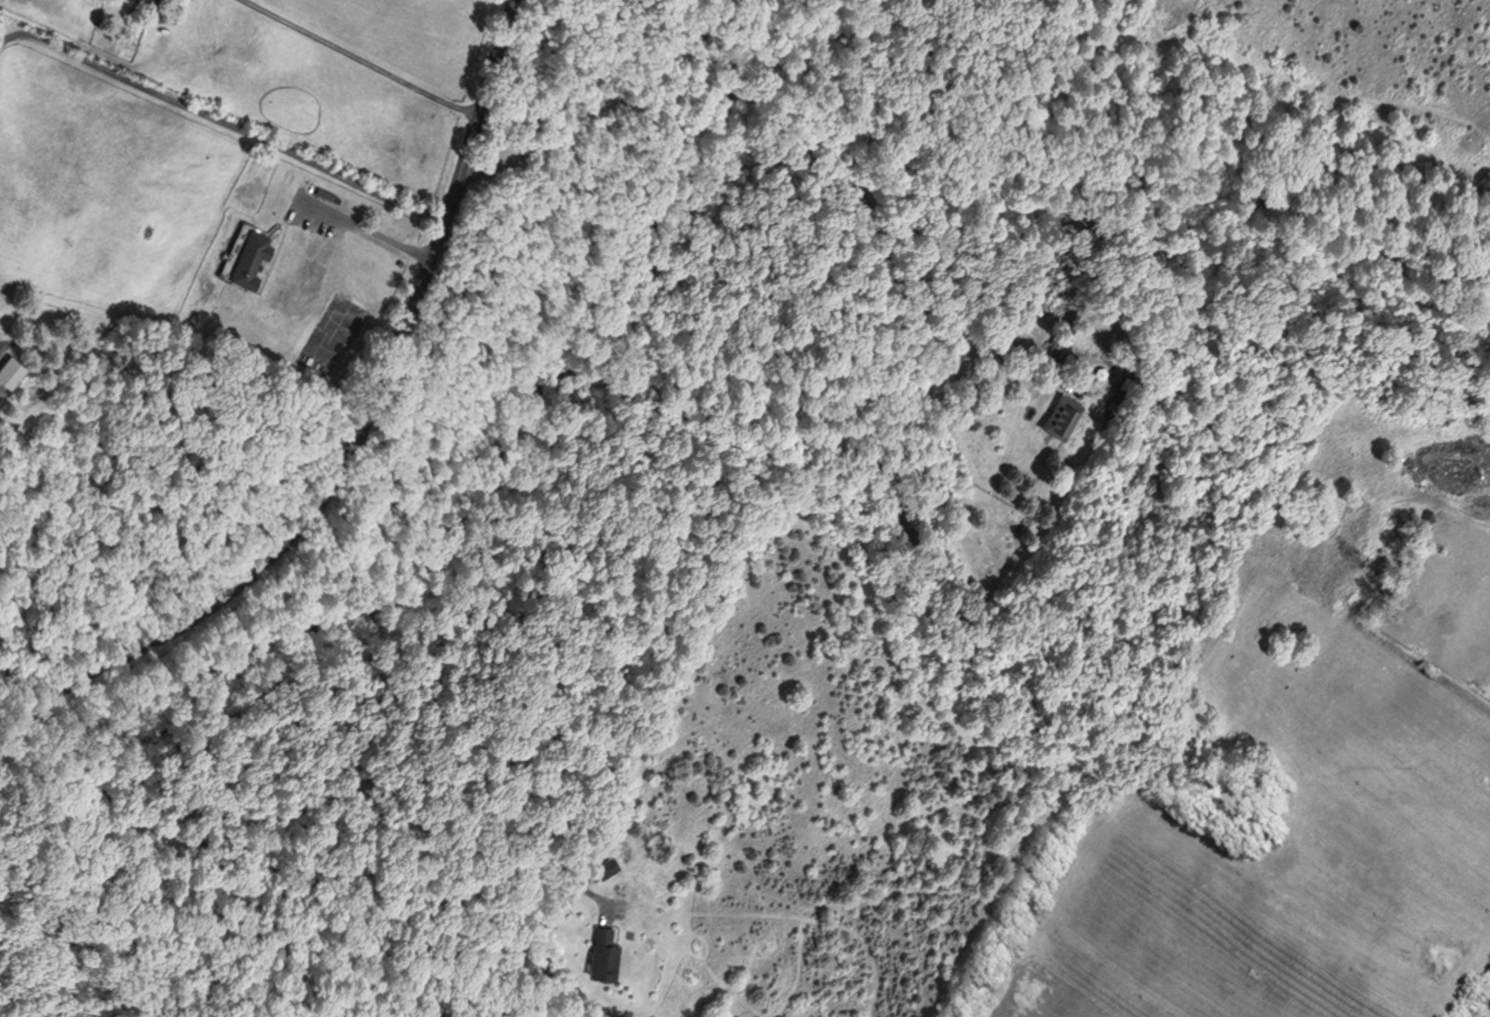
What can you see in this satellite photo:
road: (354, 58)
road: (222, 121)
road: (795, 158)
building: (323, 191)
road: (369, 225)
building: (245, 254)
building: (1010, 312)
building: (1054, 339)
building: (9, 366)
building: (1056, 413)
road: (166, 439)
road: (357, 441)
road: (32, 672)
road: (398, 781)
road: (293, 866)
building: (605, 866)
building: (603, 953)
building: (1385, 1009)

